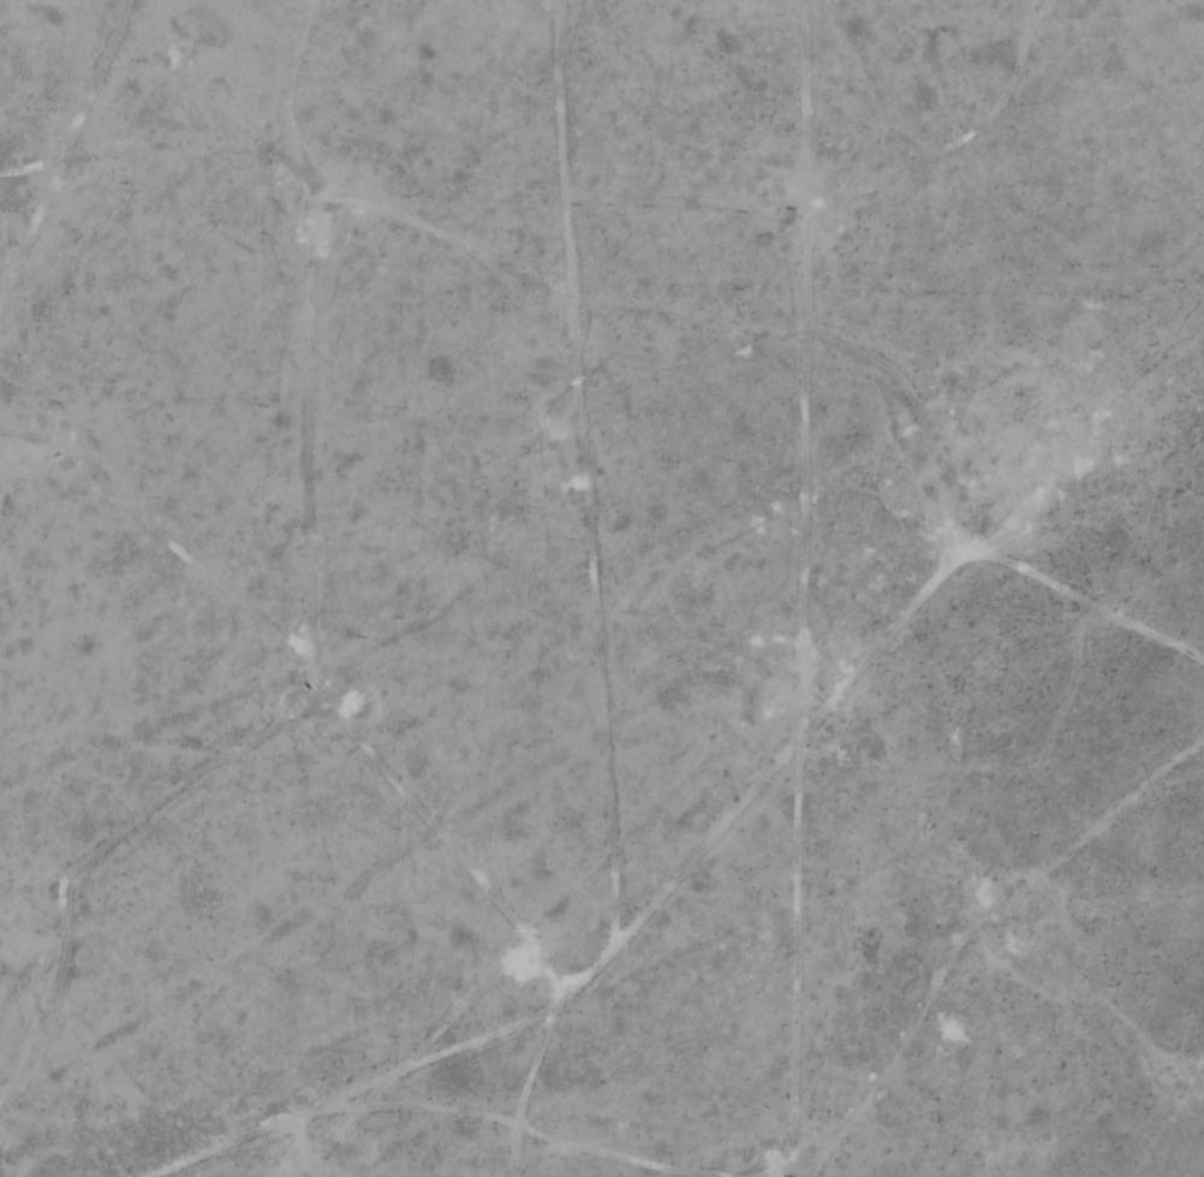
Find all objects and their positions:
road: (190, 61)
road: (66, 94)
road: (944, 150)
road: (543, 255)
road: (806, 328)
road: (914, 563)
road: (309, 598)
road: (782, 916)
road: (588, 927)
road: (1197, 989)
road: (541, 1077)

